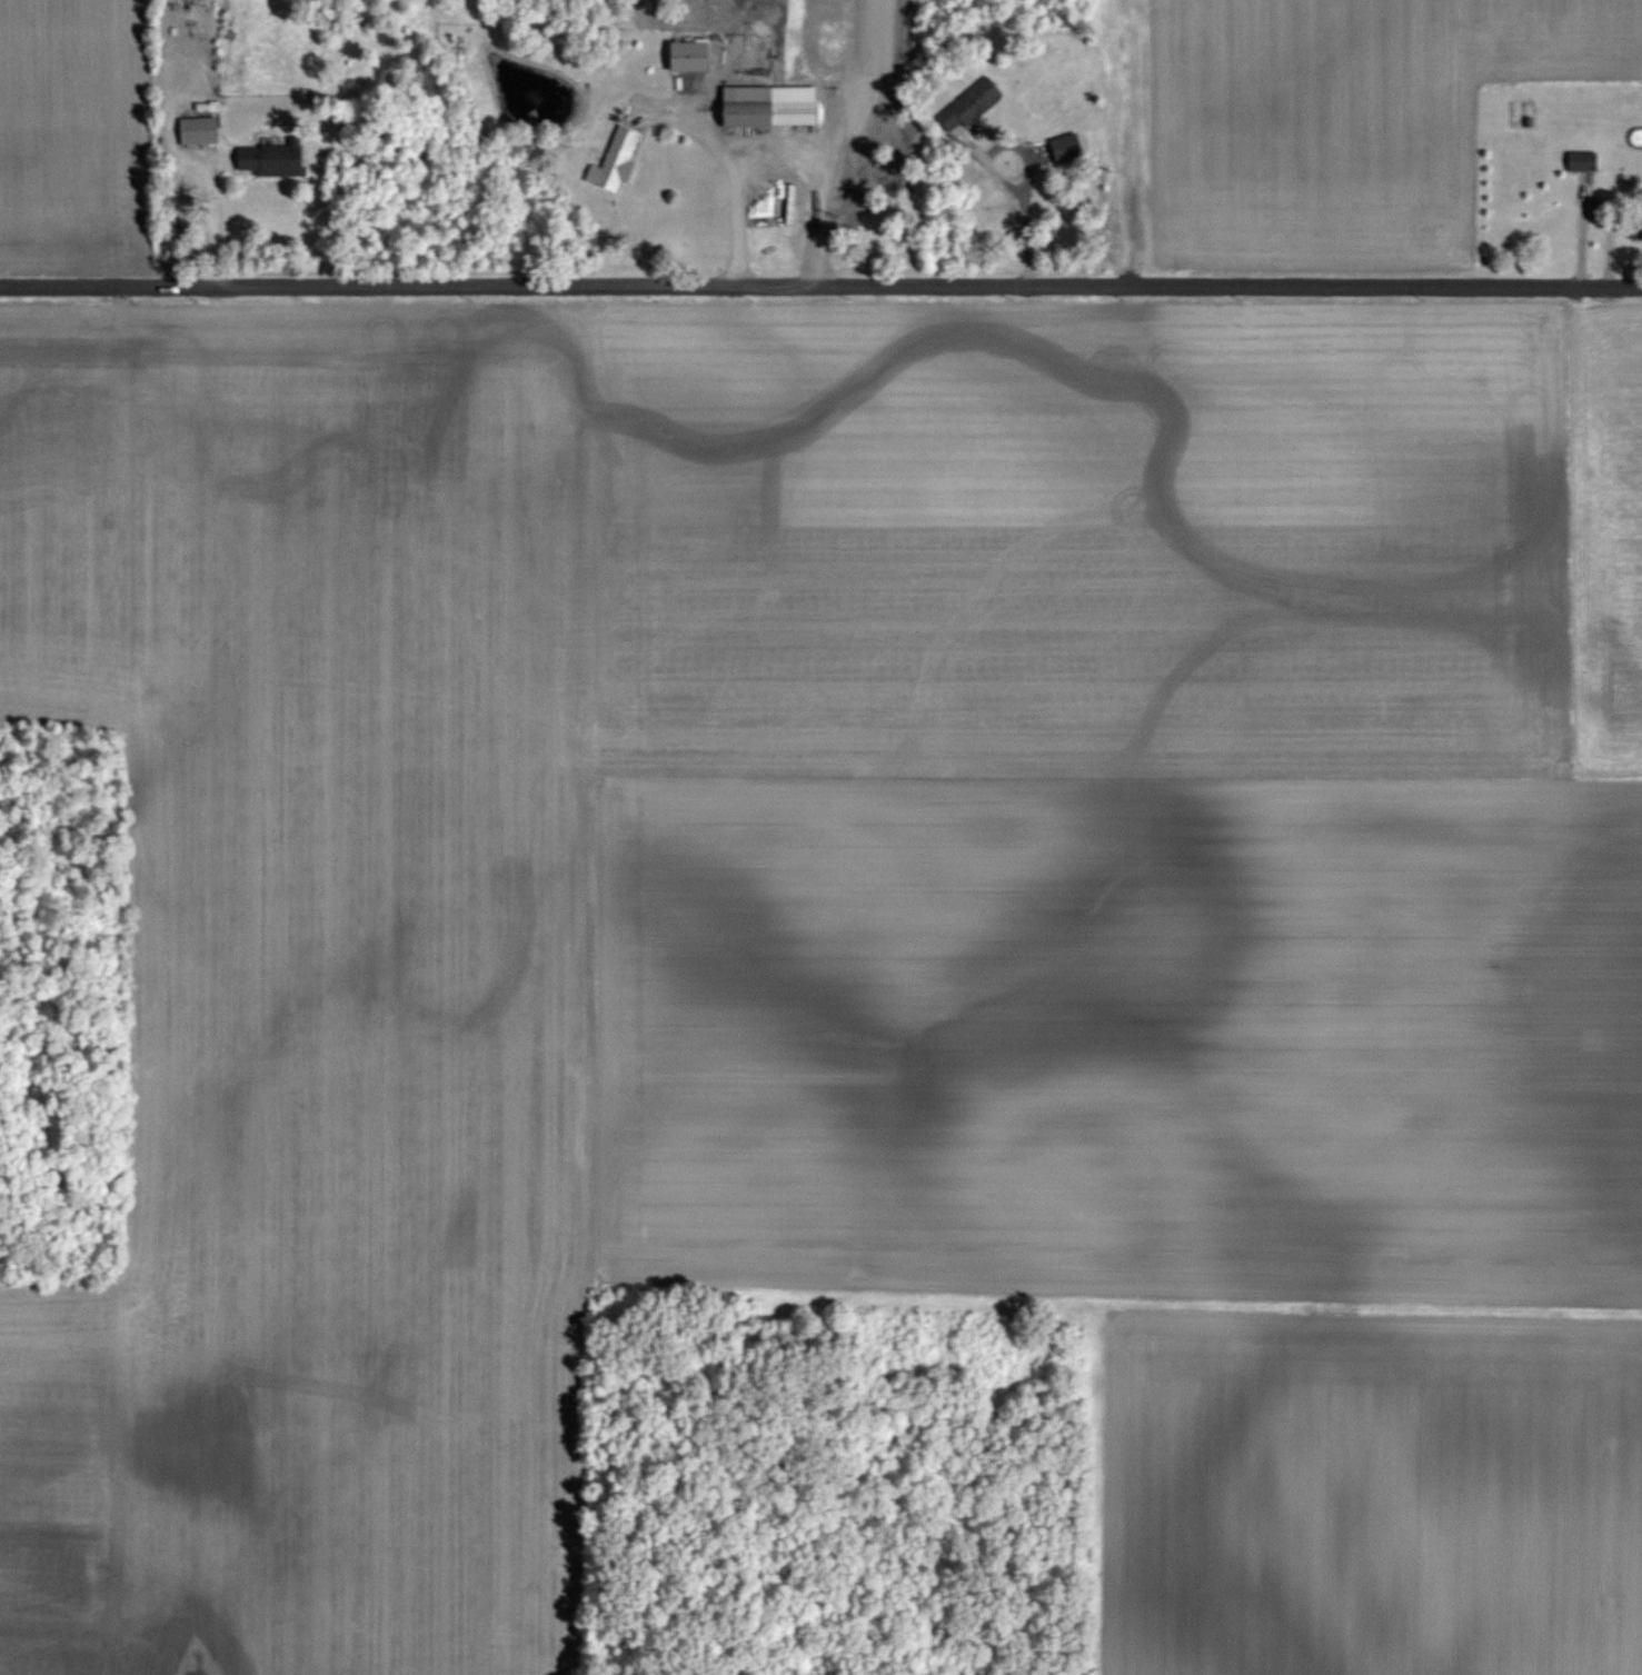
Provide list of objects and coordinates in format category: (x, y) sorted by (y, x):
building: (696, 54)
building: (973, 101)
building: (755, 104)
building: (202, 130)
building: (275, 158)
building: (617, 160)
building: (1585, 160)
road: (728, 166)
road: (1022, 220)
road: (210, 222)
road: (820, 290)

